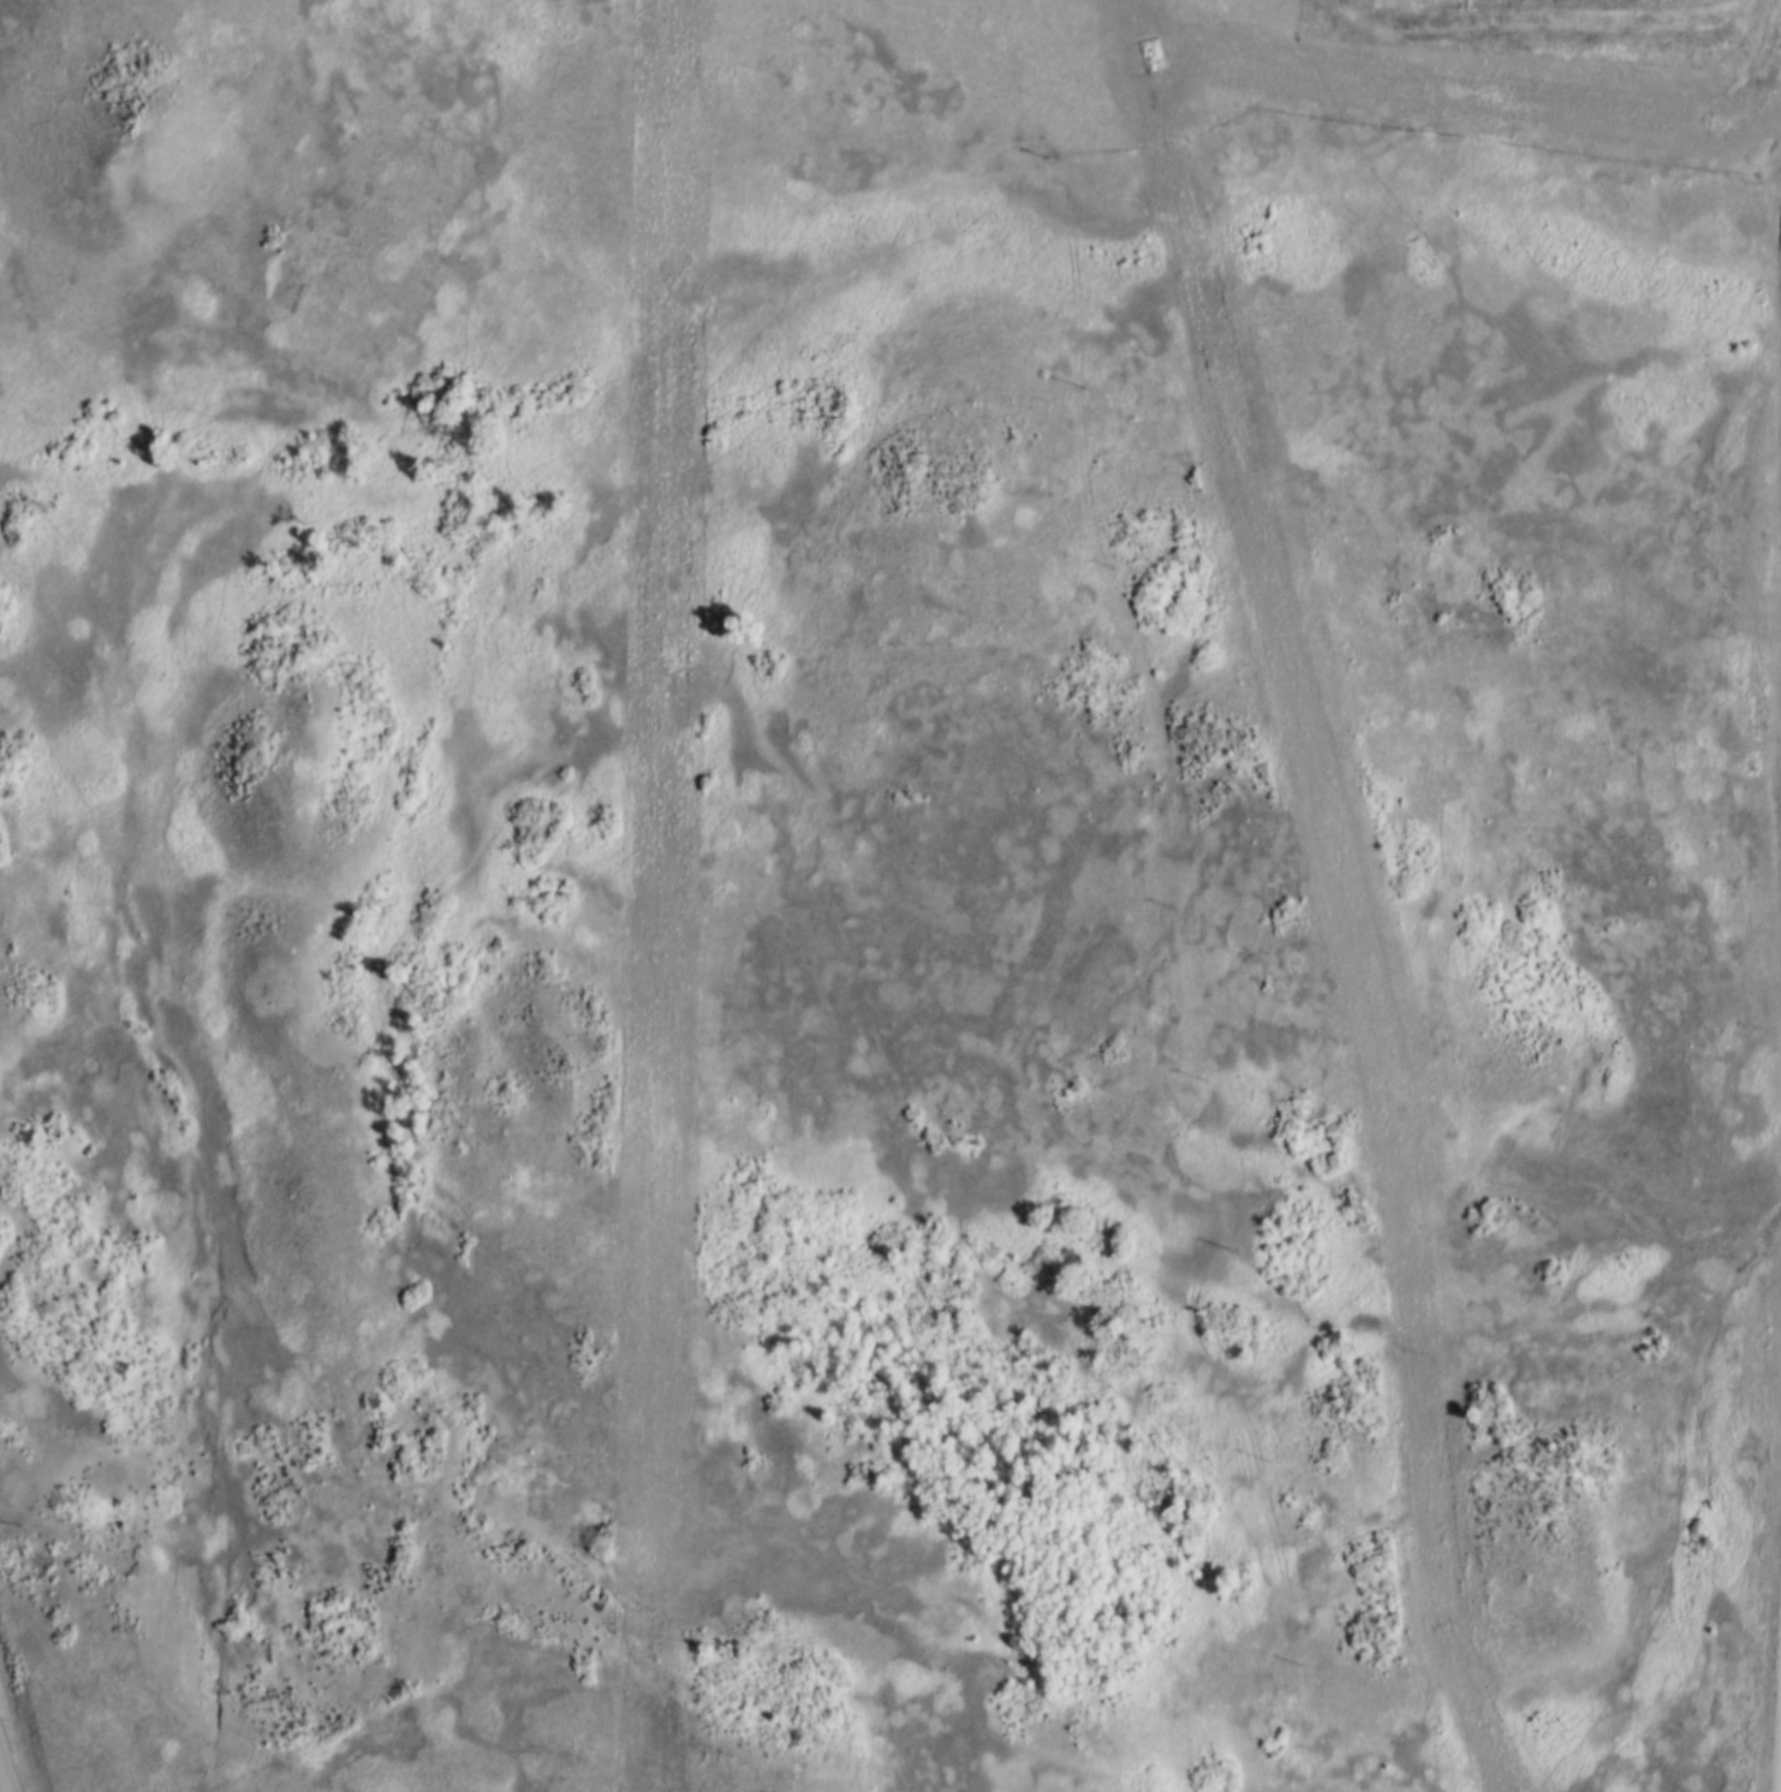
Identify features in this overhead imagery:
road: (1773, 1723)
road: (0, 1791)

